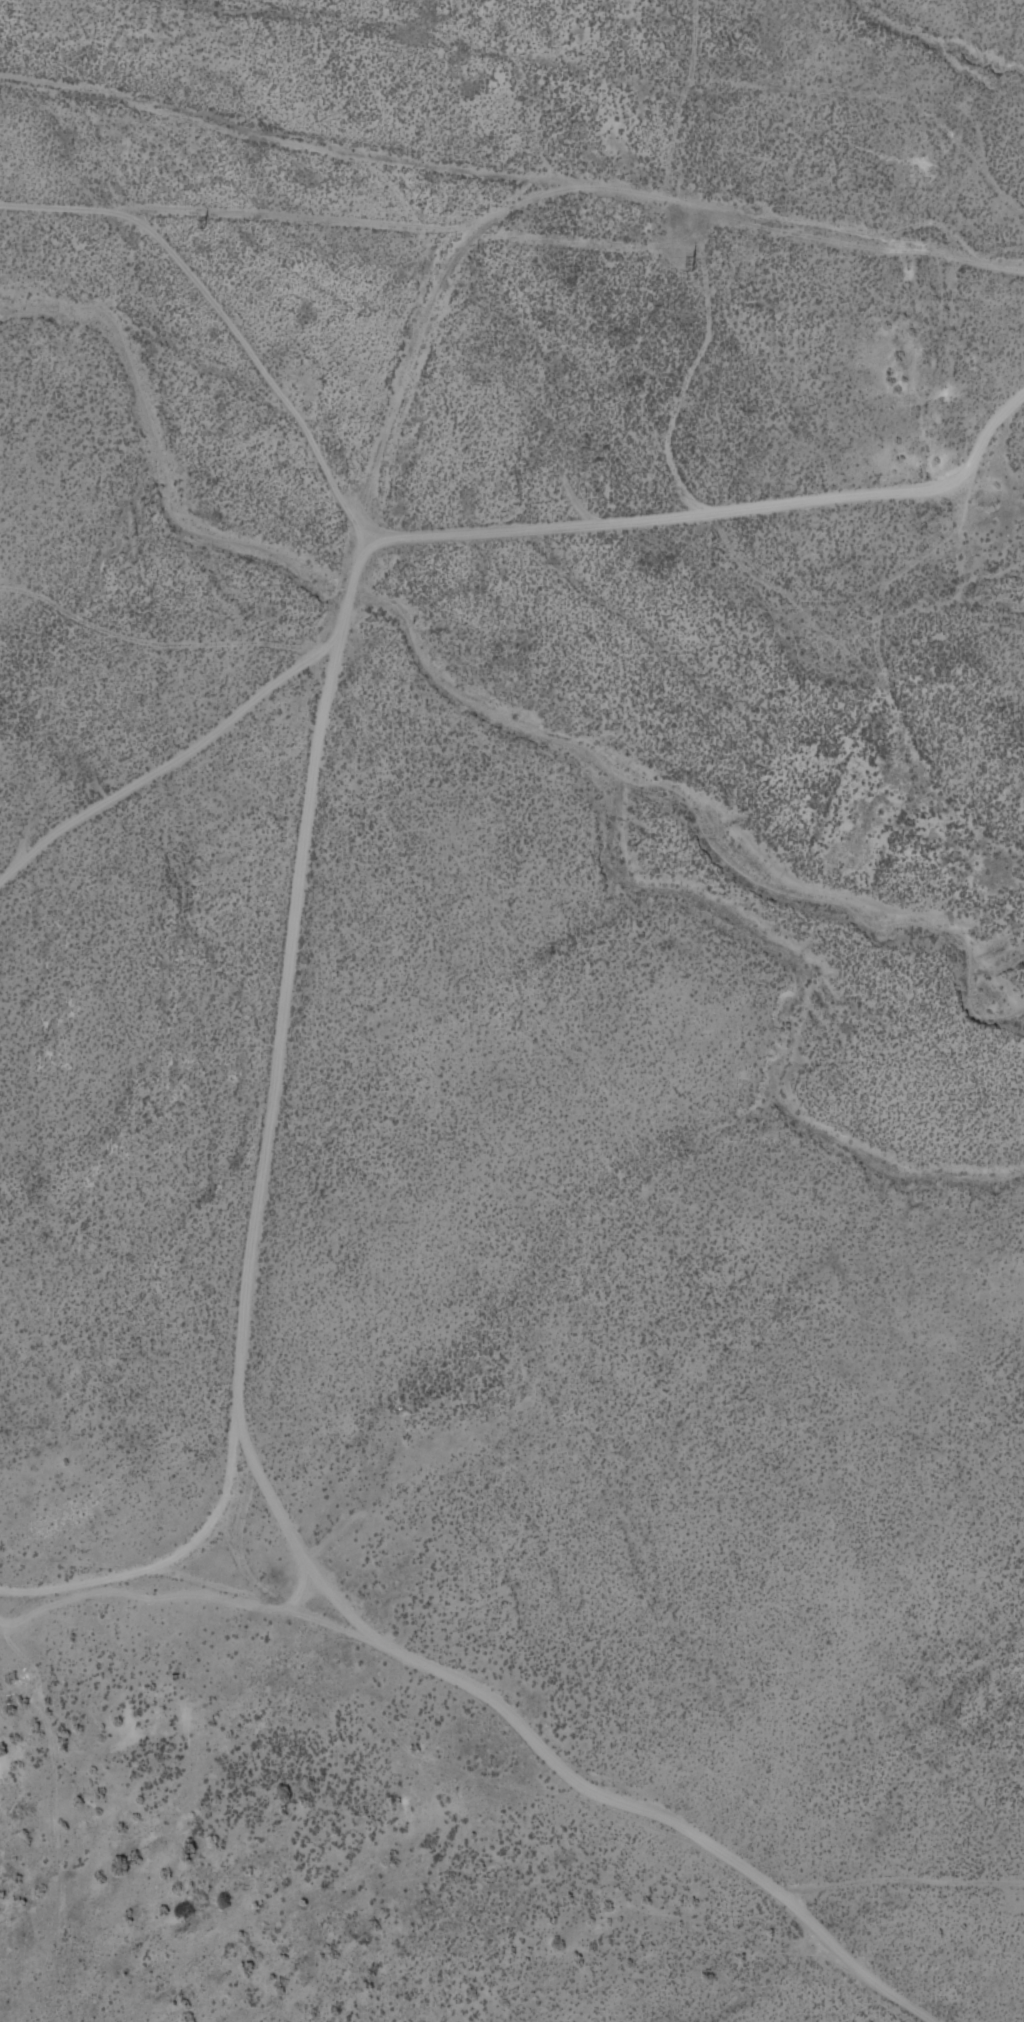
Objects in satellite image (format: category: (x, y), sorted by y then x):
road: (510, 169)
road: (243, 215)
power tower: (196, 227)
power tower: (688, 264)
road: (704, 513)
road: (304, 795)
road: (118, 1573)
road: (604, 1744)

